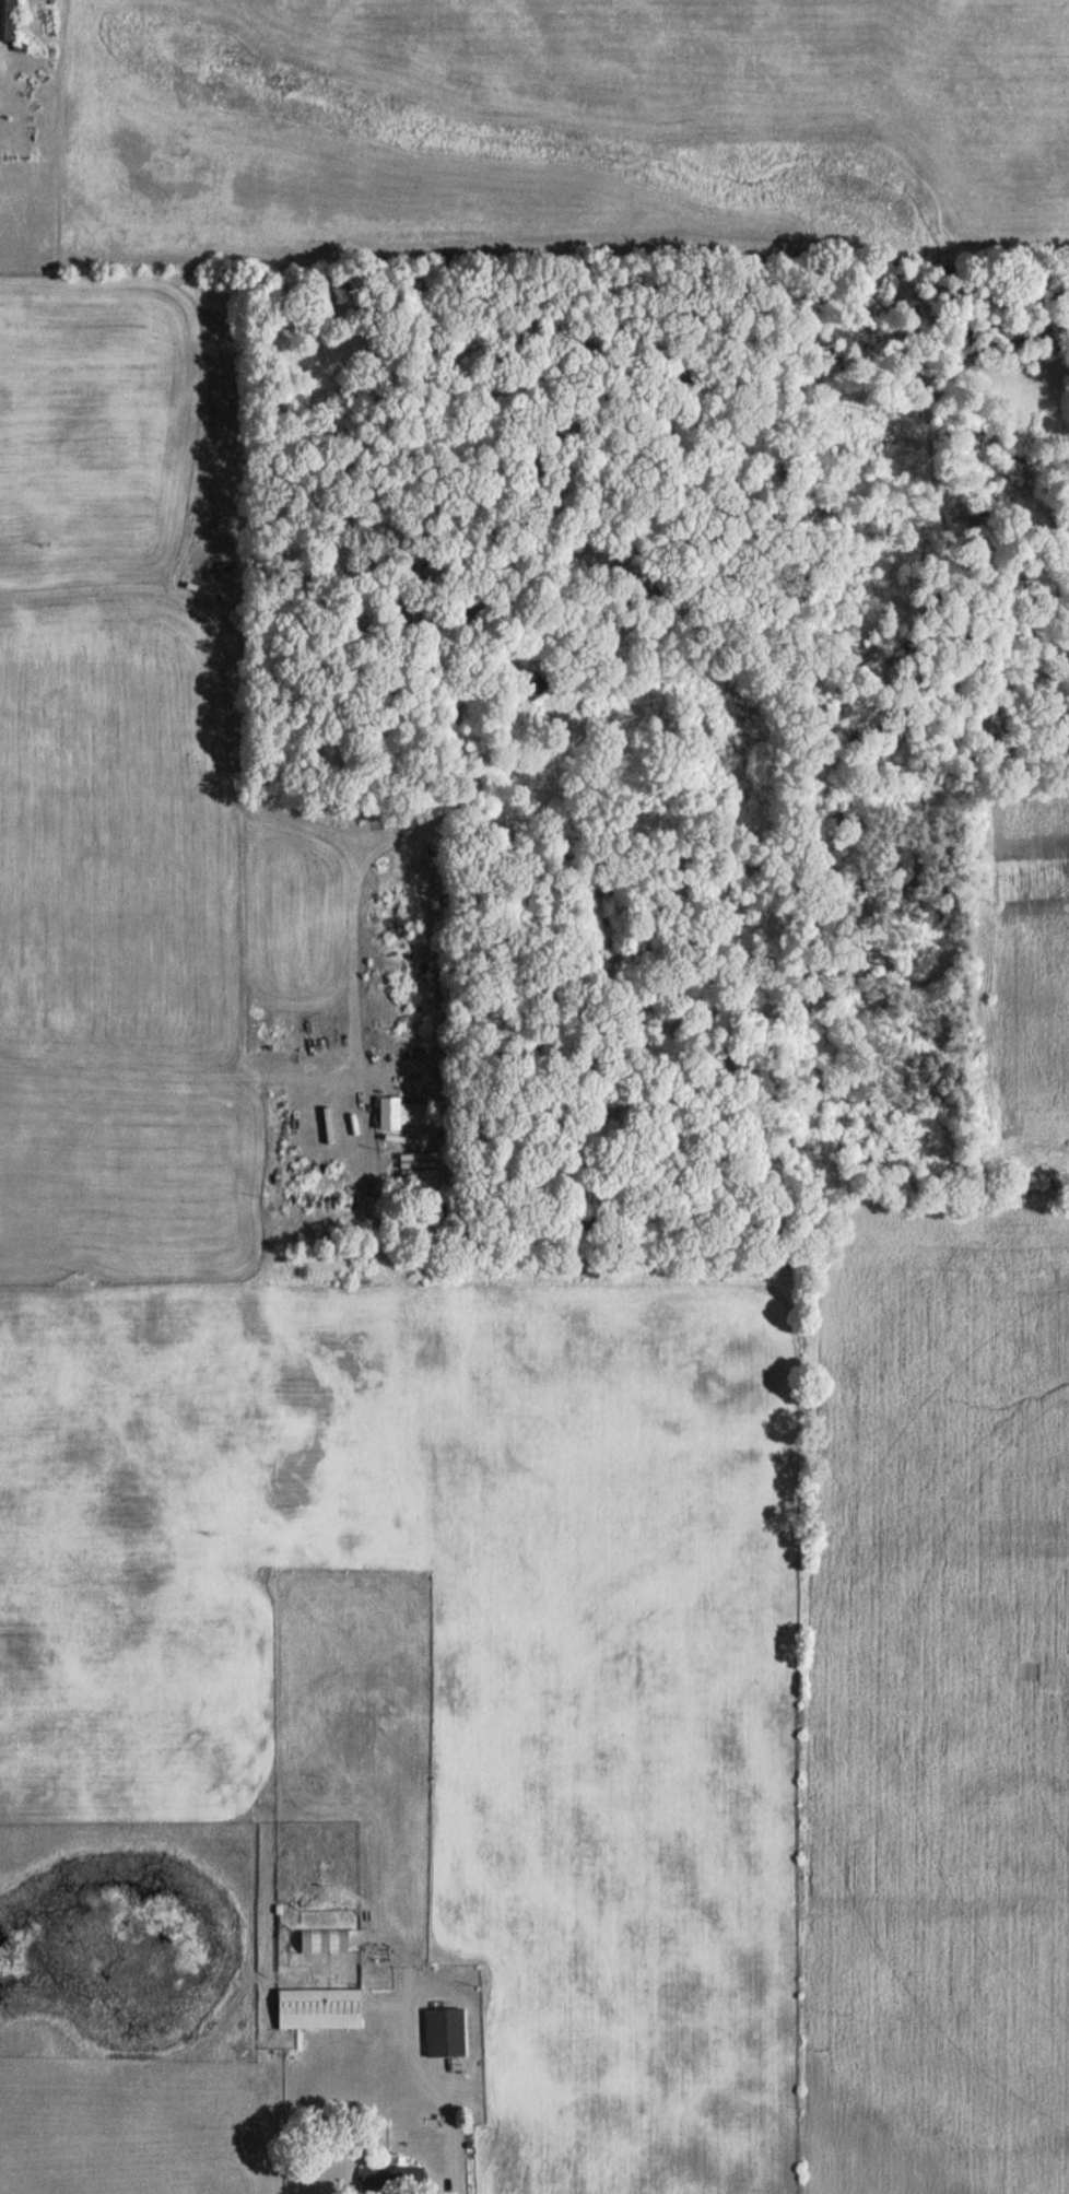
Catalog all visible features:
building: (5, 20)
road: (181, 594)
building: (536, 687)
building: (388, 1114)
building: (419, 1115)
building: (324, 1941)
building: (318, 2009)
building: (445, 2034)
building: (436, 2068)
road: (434, 2095)
building: (390, 2181)

